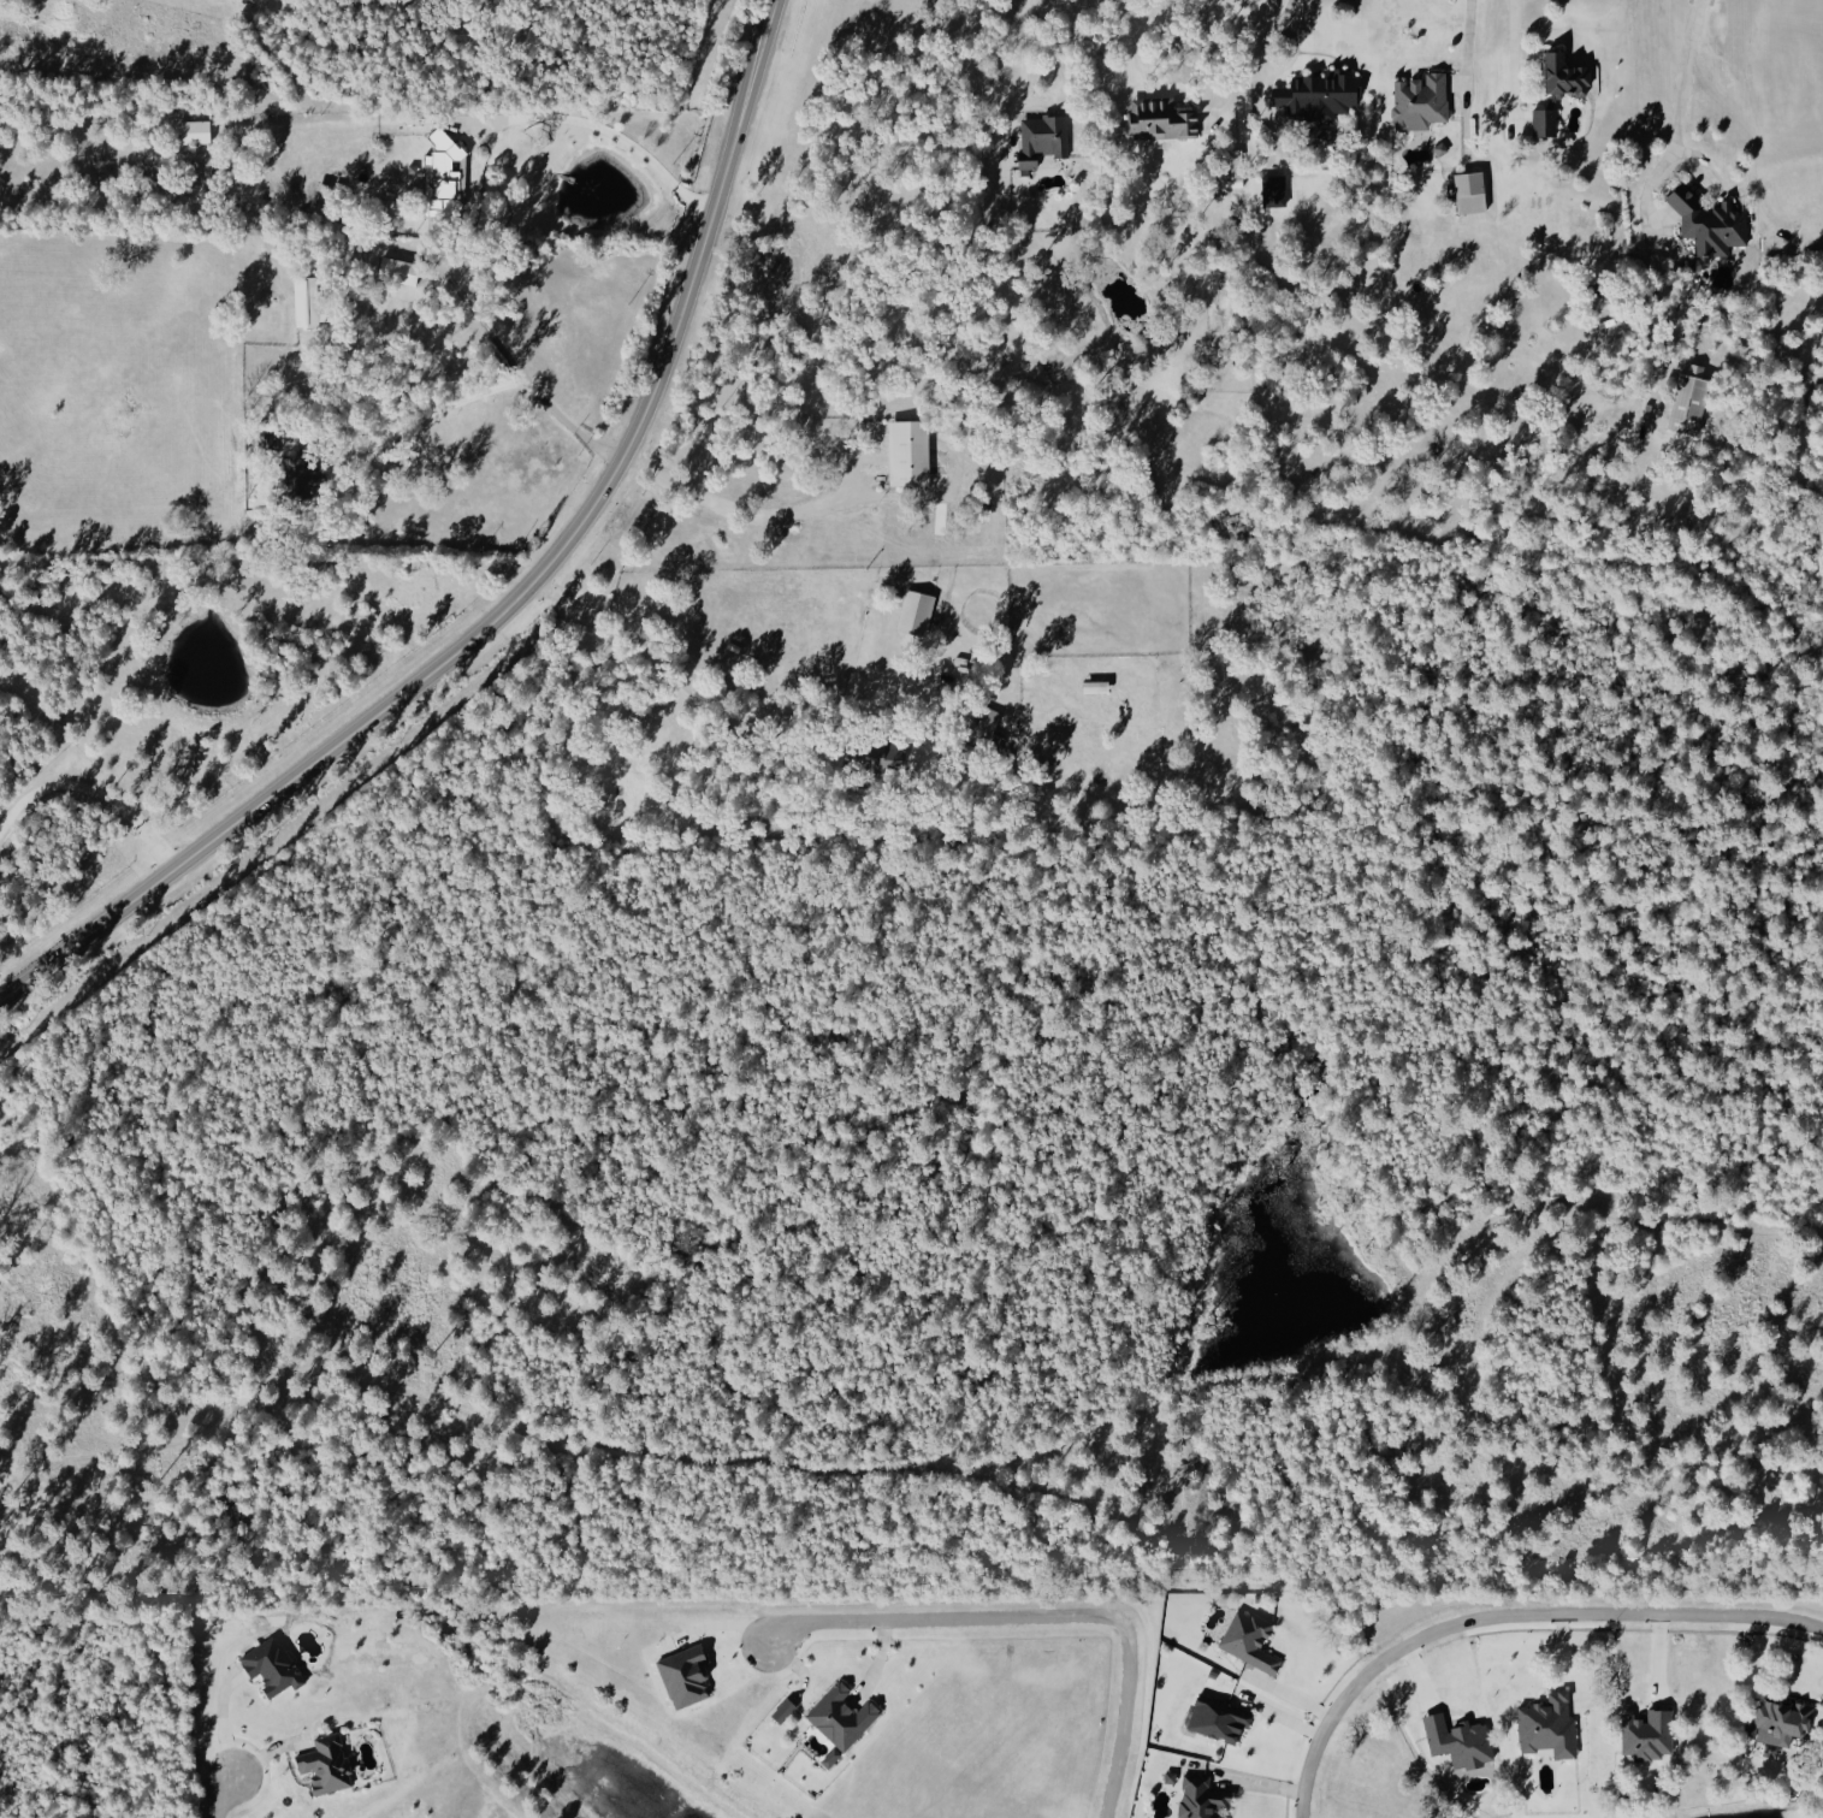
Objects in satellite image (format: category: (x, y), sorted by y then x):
road: (1271, 42)
road: (1472, 45)
road: (1517, 45)
road: (1221, 61)
road: (1019, 75)
building: (1557, 76)
building: (1322, 95)
building: (1414, 100)
building: (1164, 119)
building: (1539, 120)
road: (598, 128)
building: (200, 131)
building: (1044, 140)
building: (445, 176)
building: (1277, 190)
building: (1463, 190)
road: (1649, 208)
building: (1704, 220)
building: (403, 271)
building: (308, 302)
road: (487, 397)
building: (1682, 399)
building: (912, 451)
building: (308, 469)
road: (726, 508)
road: (504, 587)
building: (918, 611)
building: (1100, 686)
road: (696, 706)
road: (93, 789)
road: (1600, 1612)
road: (1040, 1617)
building: (1244, 1639)
building: (274, 1665)
building: (688, 1676)
building: (786, 1709)
building: (845, 1717)
building: (1213, 1717)
road: (223, 1718)
building: (1774, 1721)
road: (1322, 1724)
building: (1543, 1724)
building: (1643, 1734)
building: (1454, 1739)
building: (834, 1758)
building: (329, 1764)
road: (220, 1795)
building: (1197, 1796)
building: (1821, 1802)

